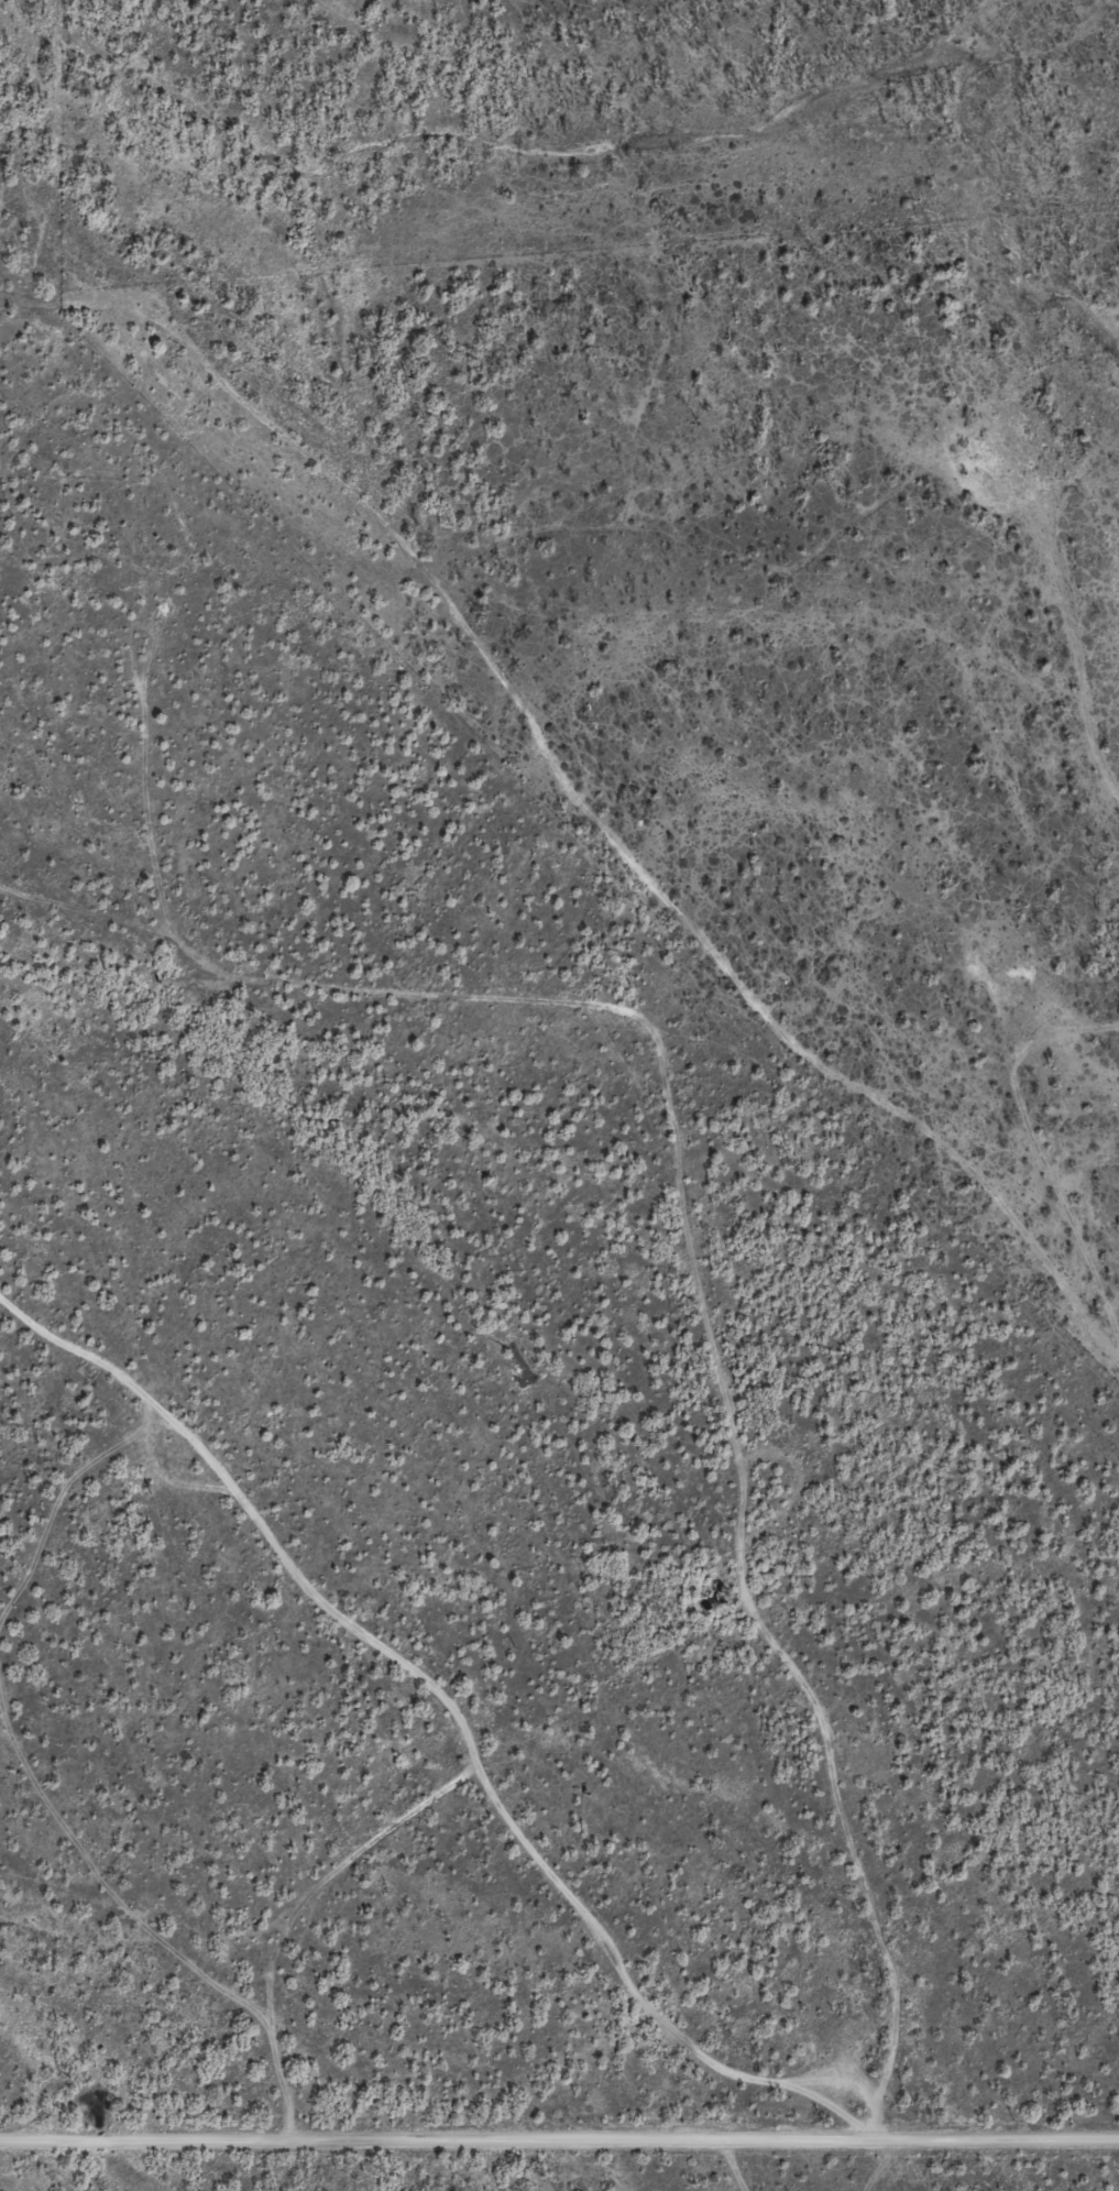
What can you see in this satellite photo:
road: (619, 803)
road: (426, 1716)
road: (559, 2148)

